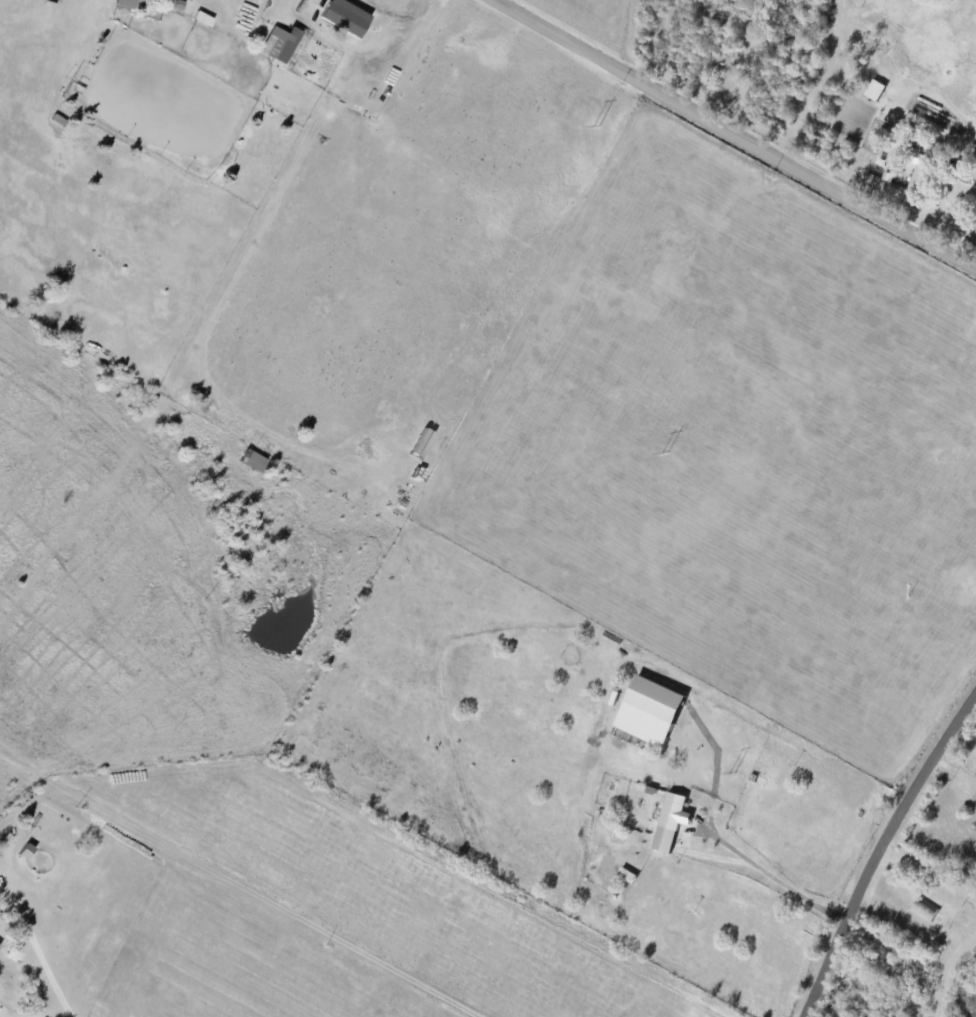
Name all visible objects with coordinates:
building: (166, 0)
building: (125, 2)
building: (343, 16)
building: (201, 17)
building: (279, 42)
building: (874, 89)
power tower: (597, 127)
road: (733, 136)
building: (918, 171)
power tower: (666, 454)
building: (251, 460)
building: (647, 711)
power tower: (734, 773)
building: (669, 821)
road: (876, 848)
road: (778, 872)
road: (644, 917)
road: (40, 952)
road: (899, 974)

